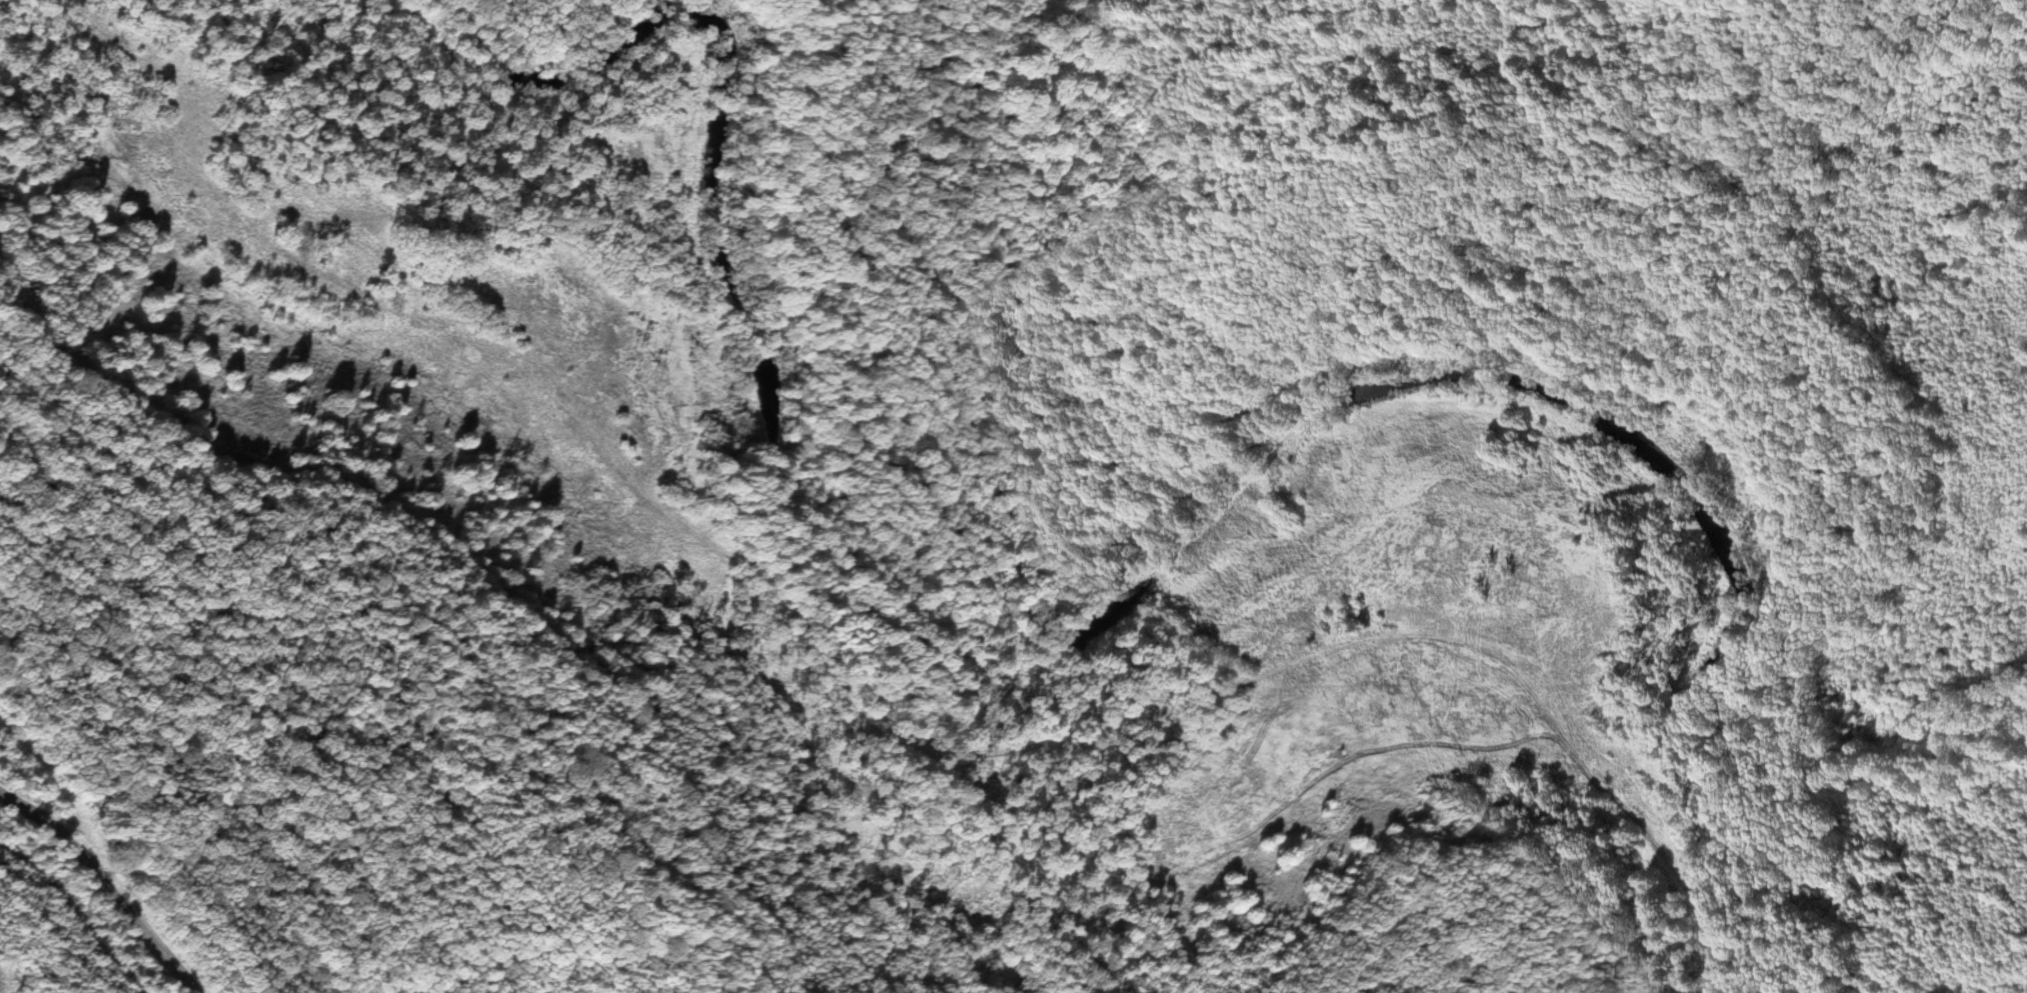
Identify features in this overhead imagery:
road: (398, 186)
road: (920, 755)
road: (114, 816)
road: (64, 823)

